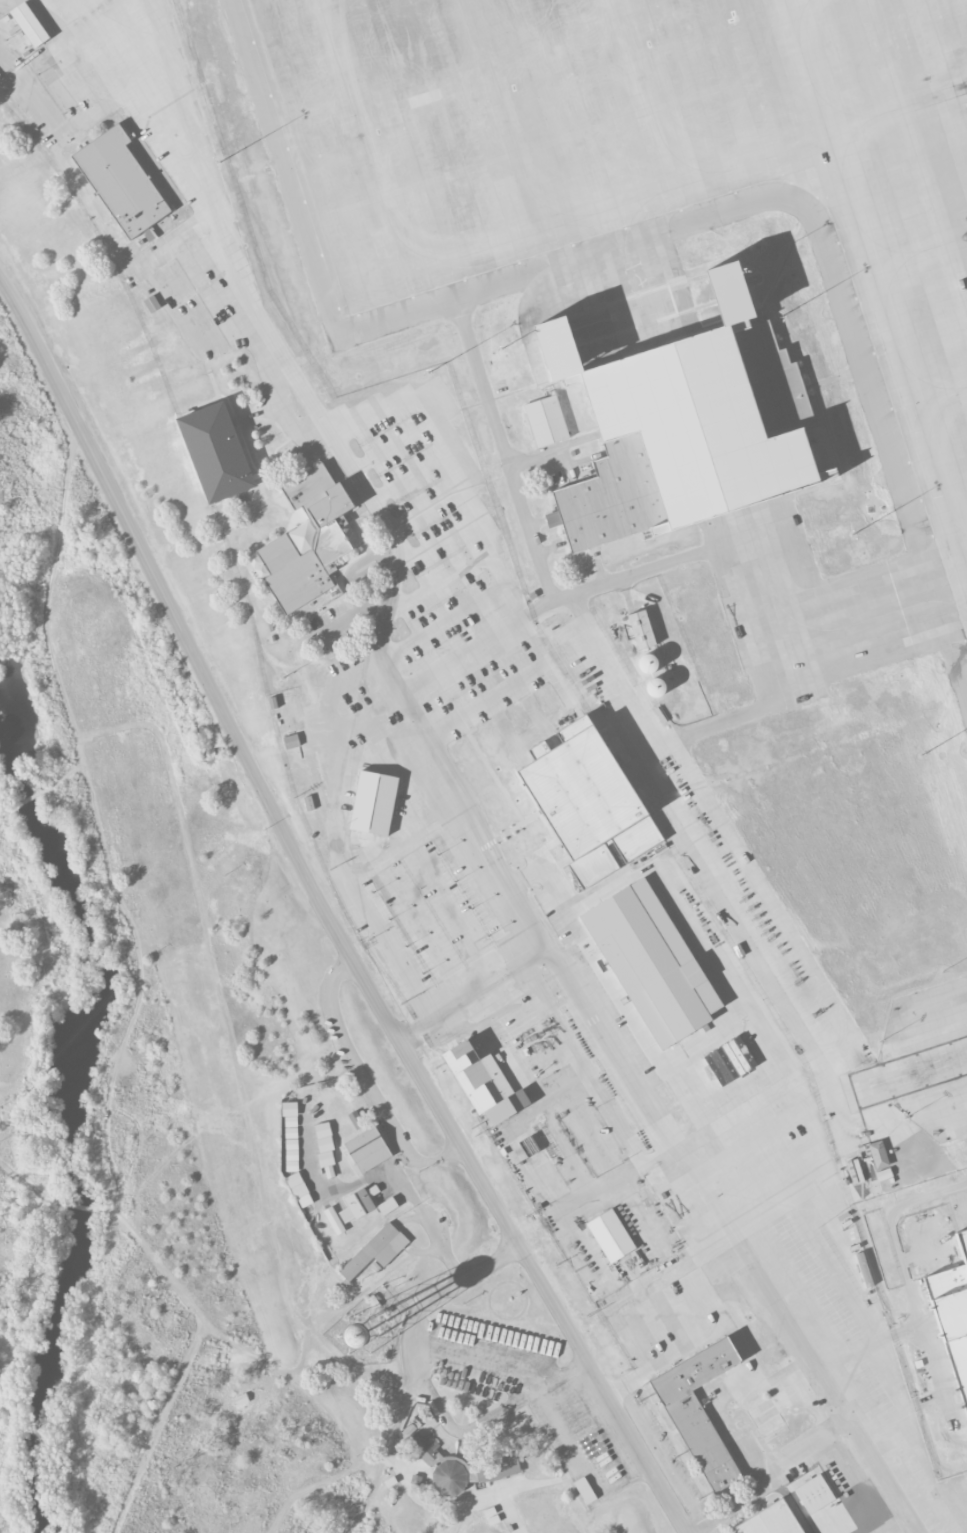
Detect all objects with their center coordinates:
building: (29, 25)
building: (122, 182)
airport apron: (646, 183)
building: (151, 304)
airport apron: (605, 314)
building: (681, 432)
building: (216, 454)
building: (257, 477)
building: (307, 540)
airport apron: (808, 608)
airport: (591, 621)
building: (640, 630)
road: (464, 653)
building: (290, 742)
road: (461, 789)
road: (29, 798)
building: (587, 801)
building: (373, 803)
road: (4, 812)
road: (327, 914)
road: (213, 964)
building: (651, 964)
road: (472, 992)
airport apron: (923, 1061)
road: (366, 1083)
building: (483, 1083)
building: (290, 1135)
building: (324, 1148)
building: (367, 1150)
building: (877, 1155)
building: (883, 1174)
road: (26, 1185)
building: (297, 1189)
road: (75, 1206)
building: (386, 1206)
building: (351, 1208)
road: (24, 1216)
building: (610, 1236)
building: (375, 1251)
building: (951, 1314)
road: (201, 1320)
road: (426, 1390)
building: (698, 1411)
road: (333, 1417)
road: (157, 1426)
building: (459, 1466)
road: (772, 1479)
building: (414, 1480)
building: (584, 1491)
building: (813, 1494)
road: (369, 1499)
road: (385, 1515)
building: (769, 1521)
road: (459, 1523)

